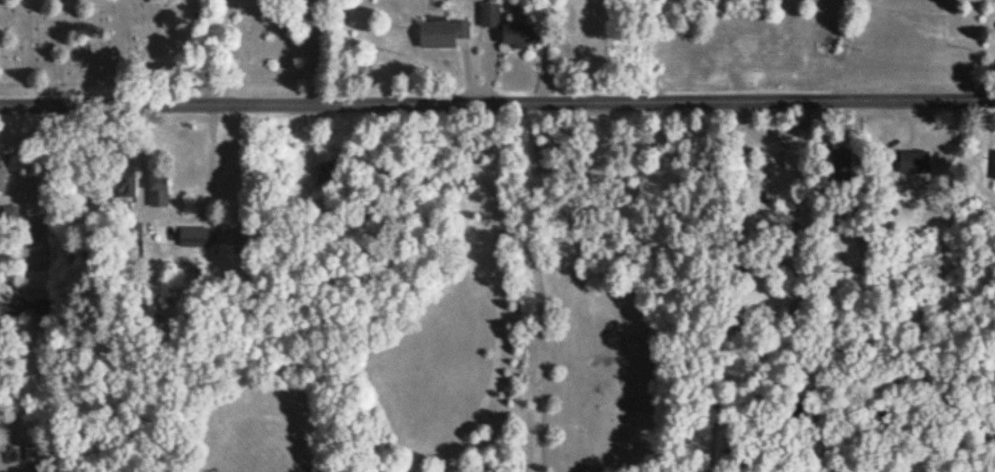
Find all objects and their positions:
road: (65, 1)
building: (490, 17)
building: (443, 35)
building: (520, 37)
park: (164, 46)
road: (209, 49)
road: (497, 105)
building: (796, 159)
building: (842, 163)
building: (915, 164)
building: (3, 176)
building: (994, 176)
building: (127, 186)
building: (160, 189)
road: (537, 218)
road: (176, 222)
building: (194, 239)
road: (498, 288)
building: (44, 308)
building: (32, 451)

